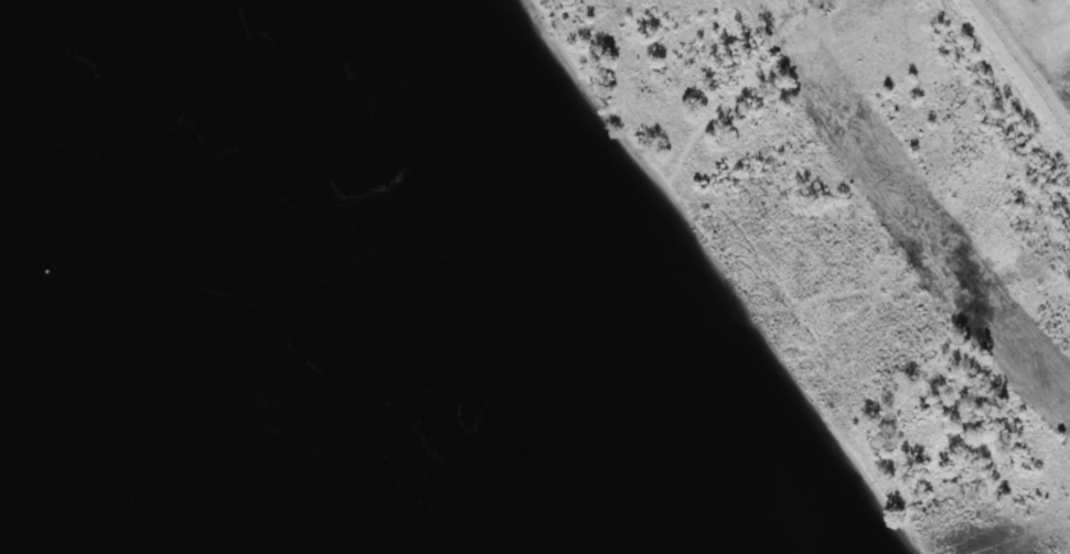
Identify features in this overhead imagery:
river: (247, 276)

